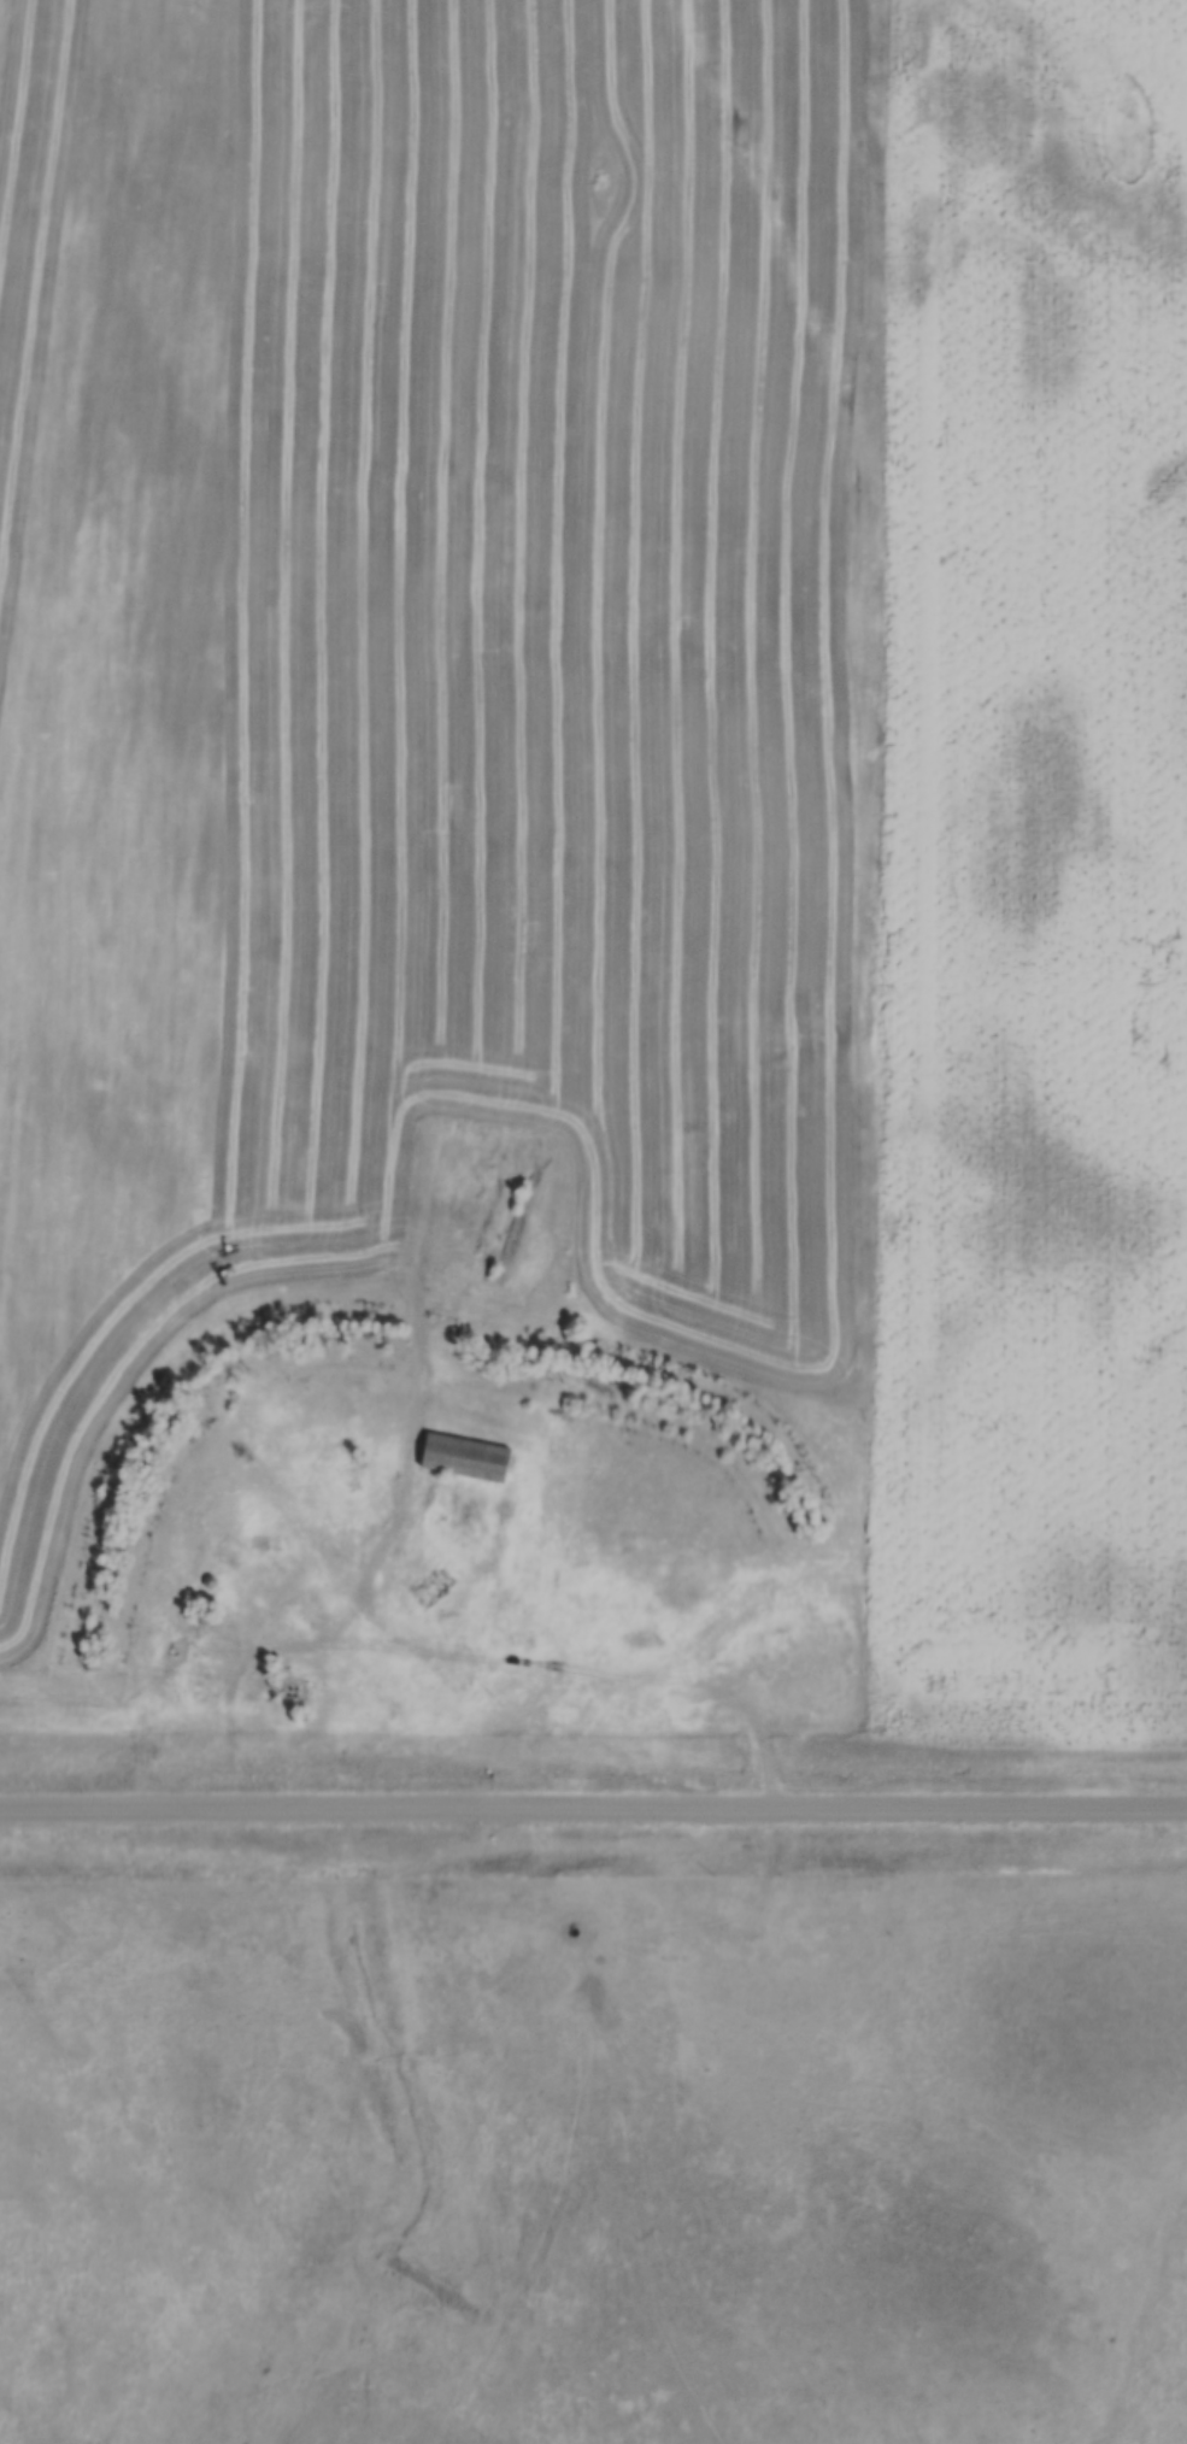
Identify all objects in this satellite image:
building: (464, 1457)
building: (352, 1482)
building: (431, 1586)
building: (202, 1597)
building: (202, 1617)
road: (308, 1643)
building: (198, 1684)
road: (117, 1710)
road: (593, 1799)
road: (581, 2135)

